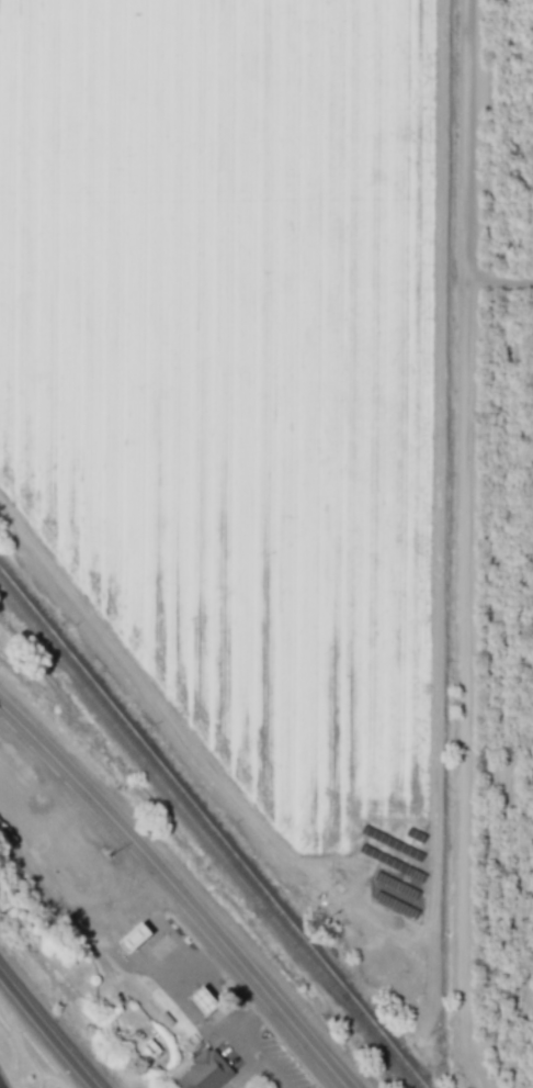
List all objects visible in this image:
railway: (212, 833)
road: (173, 894)
road: (160, 930)
building: (124, 935)
road: (189, 1013)
road: (49, 1027)
building: (201, 1072)

